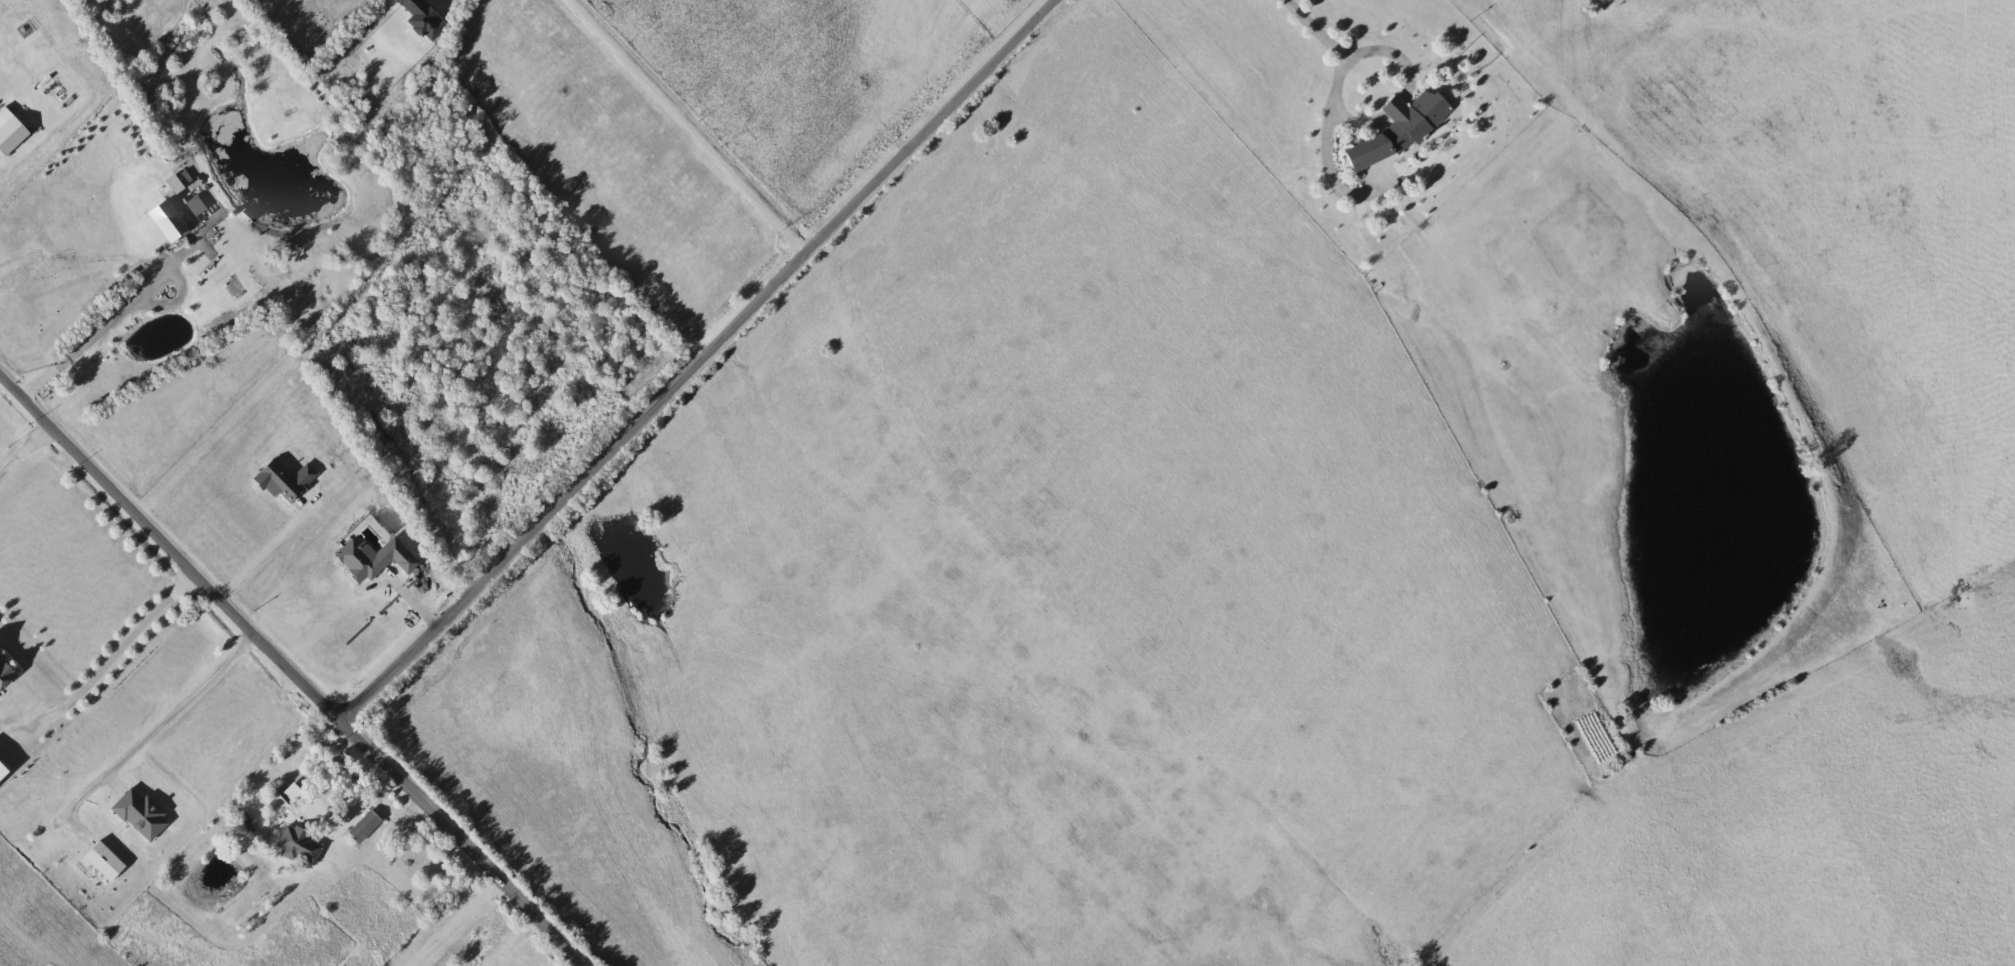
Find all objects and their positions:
road: (1337, 91)
road: (696, 121)
building: (1404, 130)
building: (171, 222)
road: (107, 326)
road: (694, 358)
road: (25, 452)
road: (262, 556)
road: (123, 644)
road: (293, 672)
building: (6, 675)
road: (184, 701)
building: (4, 773)
building: (295, 793)
building: (325, 801)
building: (279, 803)
building: (144, 815)
building: (367, 826)
building: (107, 863)
road: (456, 921)
road: (517, 942)

